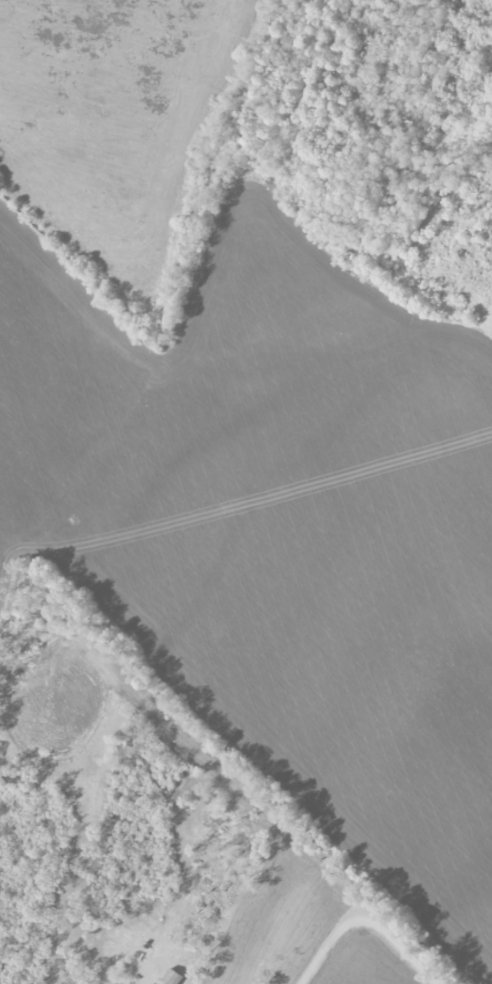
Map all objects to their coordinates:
road: (364, 920)
building: (172, 977)

